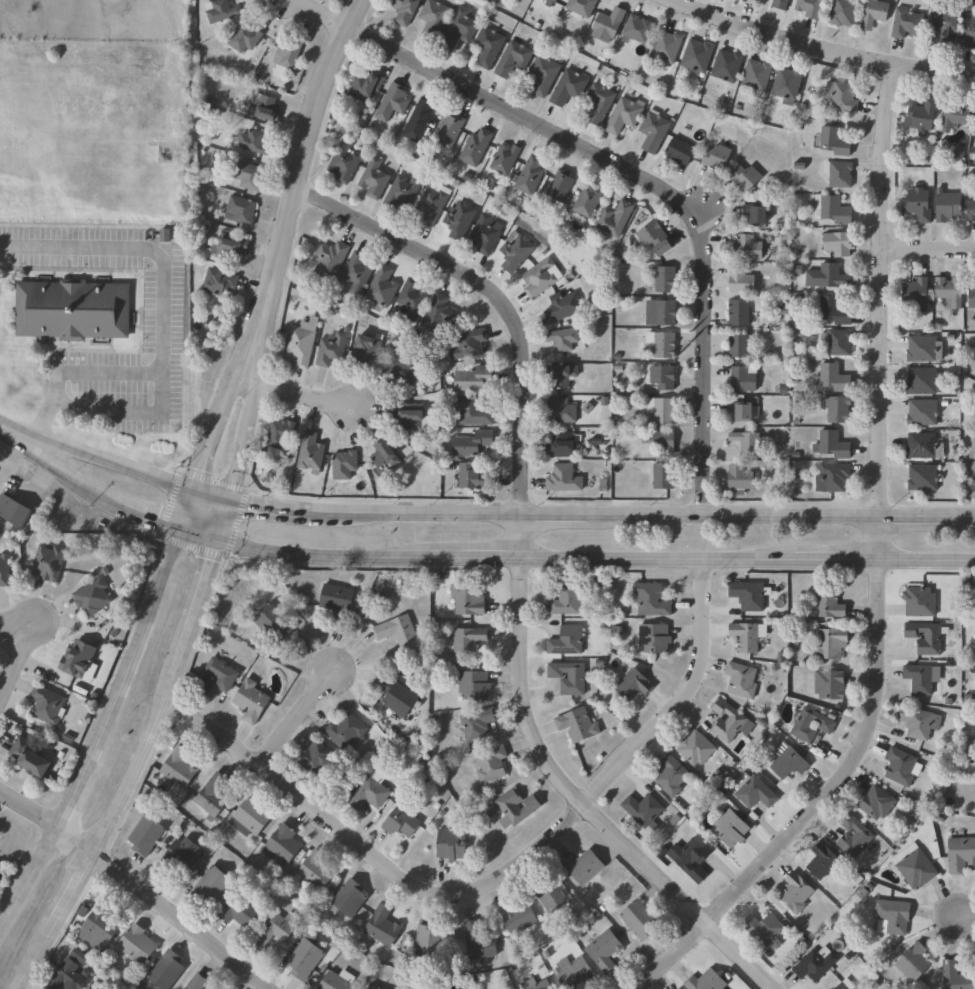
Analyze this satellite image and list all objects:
building: (750, 0)
building: (753, 0)
building: (553, 1)
building: (780, 4)
building: (580, 7)
building: (809, 8)
building: (219, 11)
building: (404, 11)
road: (326, 12)
building: (843, 13)
building: (873, 15)
building: (432, 19)
building: (905, 24)
building: (606, 25)
building: (944, 27)
building: (456, 30)
building: (636, 30)
building: (969, 34)
building: (243, 39)
building: (486, 47)
road: (827, 48)
building: (665, 49)
building: (696, 56)
building: (285, 57)
building: (512, 58)
building: (726, 66)
building: (541, 75)
building: (756, 78)
building: (786, 86)
building: (361, 88)
building: (567, 88)
building: (840, 98)
building: (391, 102)
building: (597, 102)
building: (261, 107)
building: (622, 115)
building: (921, 116)
building: (954, 116)
building: (418, 120)
building: (448, 130)
building: (652, 130)
building: (833, 141)
building: (252, 142)
building: (474, 147)
building: (678, 150)
building: (961, 153)
building: (716, 157)
building: (503, 159)
building: (342, 162)
building: (838, 173)
building: (529, 174)
building: (247, 175)
building: (745, 177)
building: (372, 178)
road: (298, 183)
road: (657, 186)
building: (558, 187)
building: (401, 191)
building: (586, 199)
building: (431, 202)
building: (916, 204)
building: (947, 208)
building: (832, 209)
building: (239, 210)
building: (971, 211)
building: (756, 212)
building: (613, 218)
building: (458, 219)
building: (483, 232)
building: (654, 238)
building: (837, 243)
building: (230, 246)
building: (747, 247)
road: (927, 249)
building: (514, 252)
building: (329, 259)
building: (355, 272)
building: (827, 276)
building: (539, 277)
building: (663, 278)
building: (217, 281)
building: (740, 281)
building: (380, 288)
road: (880, 288)
building: (949, 291)
road: (490, 293)
building: (915, 294)
building: (971, 297)
building: (410, 298)
building: (561, 306)
building: (71, 309)
building: (833, 310)
building: (659, 312)
building: (737, 313)
building: (436, 315)
road: (160, 327)
building: (561, 339)
building: (838, 342)
building: (466, 344)
building: (663, 345)
building: (738, 345)
building: (298, 346)
building: (921, 348)
building: (330, 349)
building: (364, 349)
building: (402, 369)
building: (561, 375)
building: (662, 377)
building: (472, 378)
building: (742, 378)
building: (832, 378)
building: (921, 381)
road: (299, 389)
building: (836, 409)
building: (560, 410)
building: (660, 410)
building: (744, 411)
building: (471, 412)
building: (922, 412)
building: (408, 416)
road: (211, 422)
road: (14, 429)
road: (241, 433)
building: (278, 434)
building: (661, 442)
building: (747, 443)
building: (469, 444)
building: (560, 445)
building: (831, 445)
building: (921, 445)
building: (974, 449)
building: (309, 453)
building: (383, 454)
building: (342, 465)
building: (662, 476)
building: (471, 477)
building: (831, 477)
building: (922, 478)
building: (562, 479)
building: (739, 479)
traffic signals: (192, 481)
traffic signals: (227, 495)
road: (496, 507)
building: (10, 509)
traffic signals: (175, 525)
road: (515, 529)
road: (878, 536)
traffic signals: (213, 537)
road: (487, 550)
building: (46, 563)
building: (4, 570)
building: (749, 595)
building: (92, 597)
building: (337, 600)
building: (468, 600)
building: (652, 600)
building: (567, 601)
building: (921, 602)
building: (828, 604)
road: (10, 620)
building: (274, 623)
building: (398, 631)
building: (748, 636)
building: (926, 638)
building: (655, 639)
building: (567, 641)
building: (469, 642)
building: (831, 644)
road: (11, 655)
building: (77, 659)
building: (216, 677)
building: (569, 678)
building: (922, 678)
building: (742, 680)
building: (634, 685)
building: (831, 685)
building: (475, 686)
building: (401, 699)
building: (251, 701)
building: (47, 706)
road: (112, 709)
road: (290, 713)
building: (730, 721)
building: (920, 723)
building: (478, 724)
building: (812, 725)
building: (578, 726)
building: (347, 730)
building: (697, 748)
road: (142, 750)
building: (29, 758)
building: (318, 759)
building: (789, 762)
building: (492, 764)
building: (902, 767)
building: (179, 768)
building: (673, 777)
building: (372, 791)
building: (754, 792)
building: (212, 796)
road: (581, 801)
road: (806, 803)
building: (878, 803)
building: (517, 808)
road: (29, 810)
building: (643, 810)
building: (250, 818)
building: (401, 822)
building: (732, 829)
building: (146, 836)
building: (856, 838)
road: (76, 841)
building: (282, 845)
building: (452, 845)
building: (961, 856)
building: (180, 858)
building: (694, 860)
building: (823, 861)
building: (584, 867)
building: (916, 867)
road: (496, 870)
building: (316, 872)
building: (211, 886)
building: (797, 893)
building: (551, 895)
building: (351, 899)
building: (239, 911)
road: (967, 914)
building: (893, 917)
building: (518, 919)
road: (184, 920)
building: (640, 921)
building: (100, 927)
building: (383, 927)
building: (764, 929)
building: (275, 930)
building: (479, 942)
building: (429, 944)
building: (136, 946)
building: (604, 950)
building: (306, 958)
building: (915, 962)
building: (815, 966)
building: (167, 971)
building: (575, 974)
building: (67, 977)
building: (956, 977)
building: (338, 981)
building: (198, 982)
building: (707, 982)
building: (536, 985)
building: (846, 985)
building: (836, 986)
building: (374, 987)
building: (100, 988)

